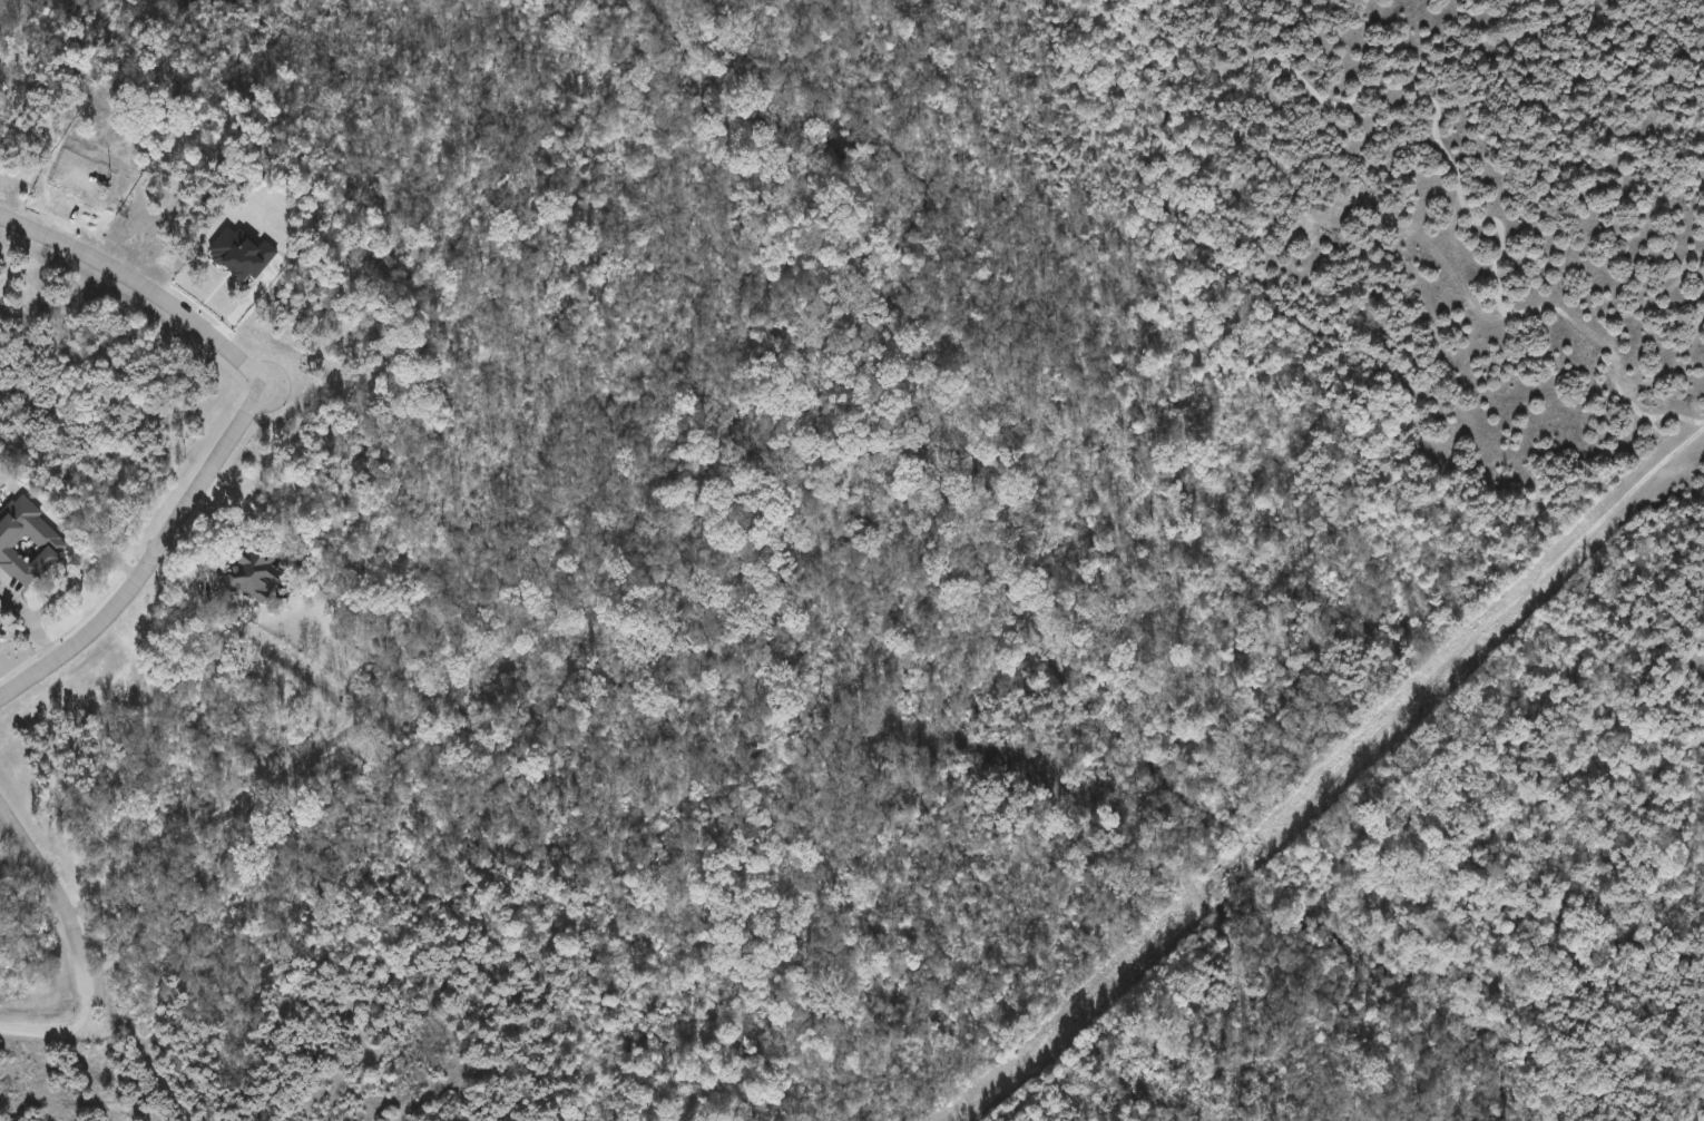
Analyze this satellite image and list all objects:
road: (141, 286)
building: (29, 543)
road: (151, 558)
road: (62, 909)
road: (41, 1031)

